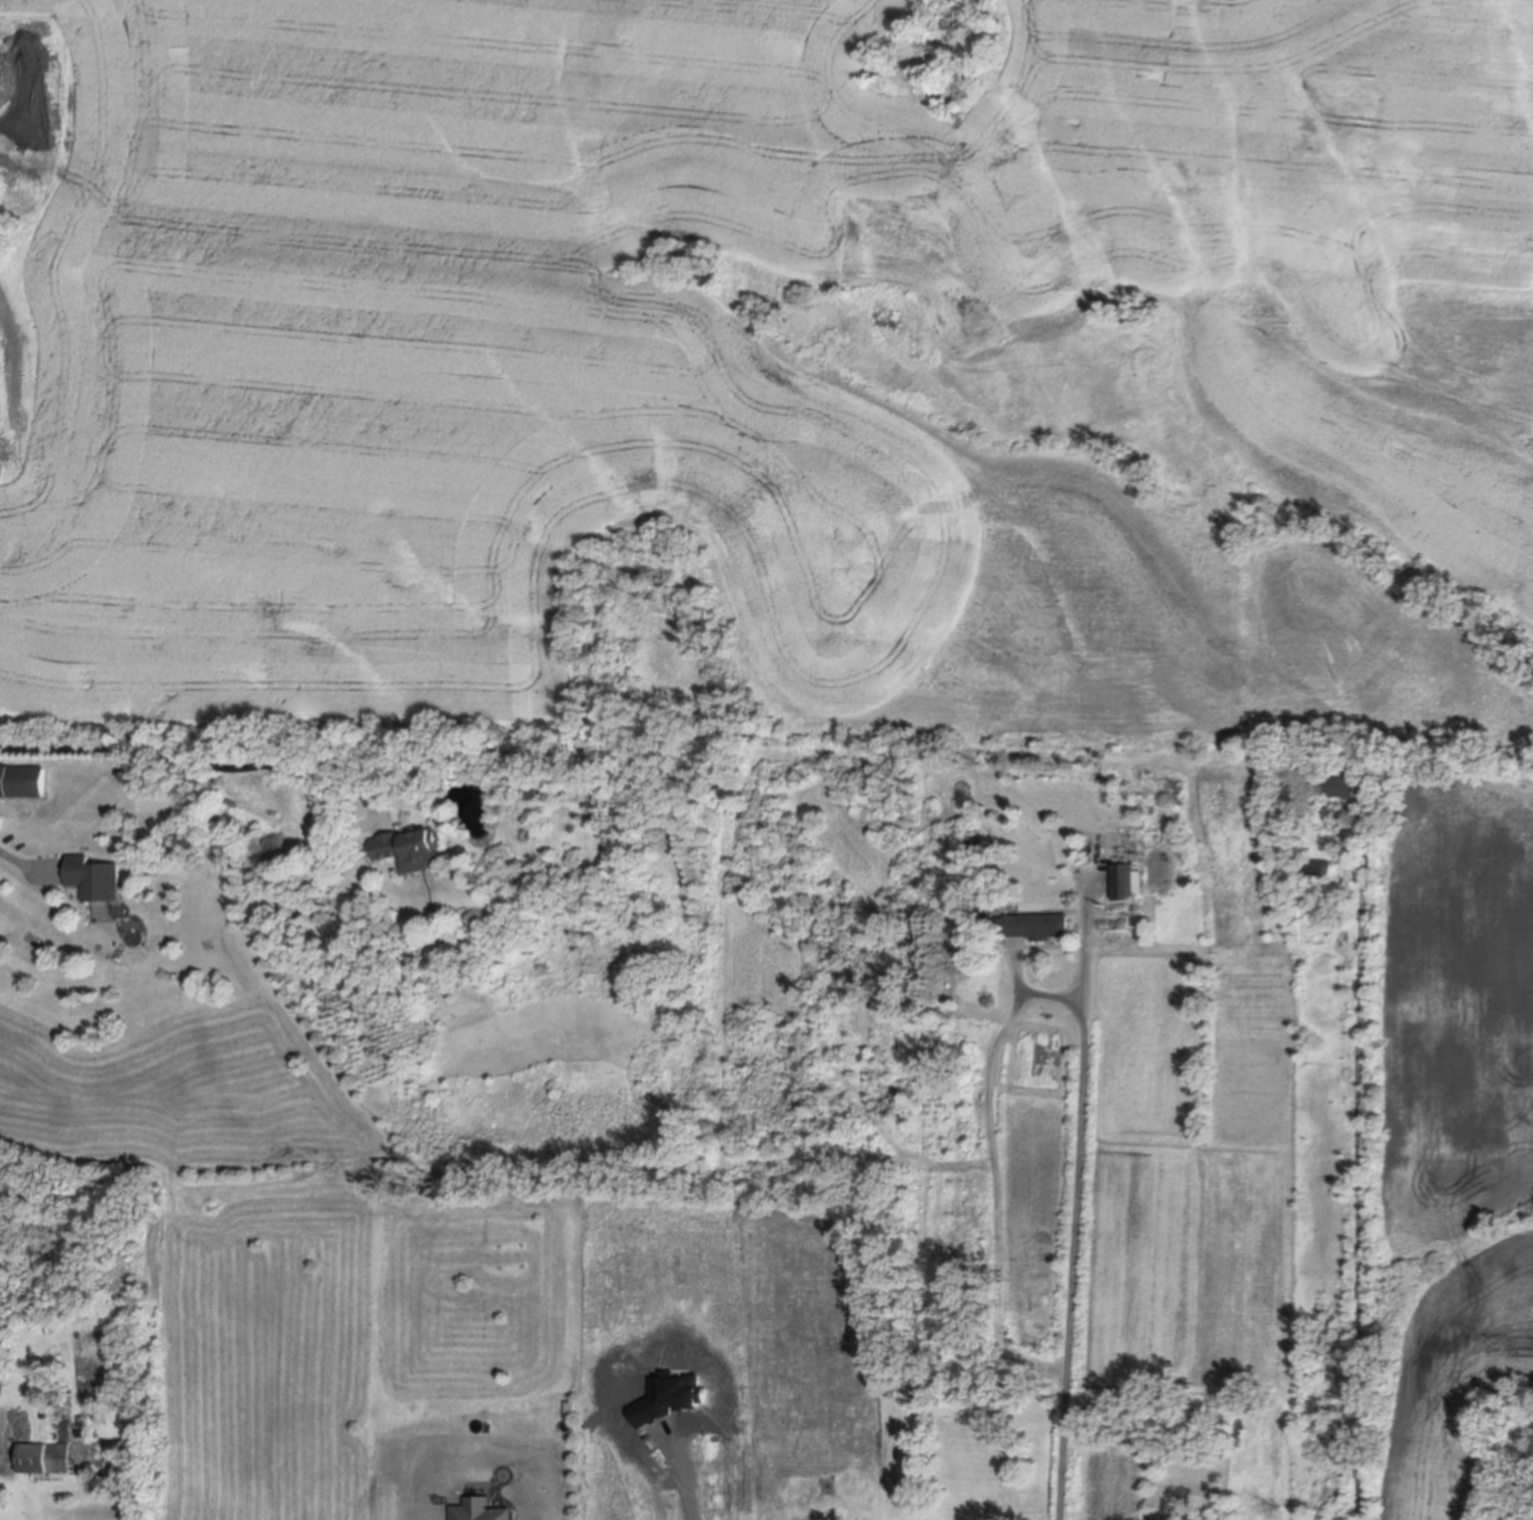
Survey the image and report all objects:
road: (201, 761)
building: (23, 785)
building: (1341, 788)
building: (412, 852)
road: (23, 859)
building: (1321, 872)
building: (97, 883)
building: (1129, 886)
building: (1040, 929)
building: (1134, 974)
road: (1052, 984)
road: (1359, 1161)
road: (1086, 1195)
building: (47, 1461)
road: (682, 1479)
building: (1508, 1507)

